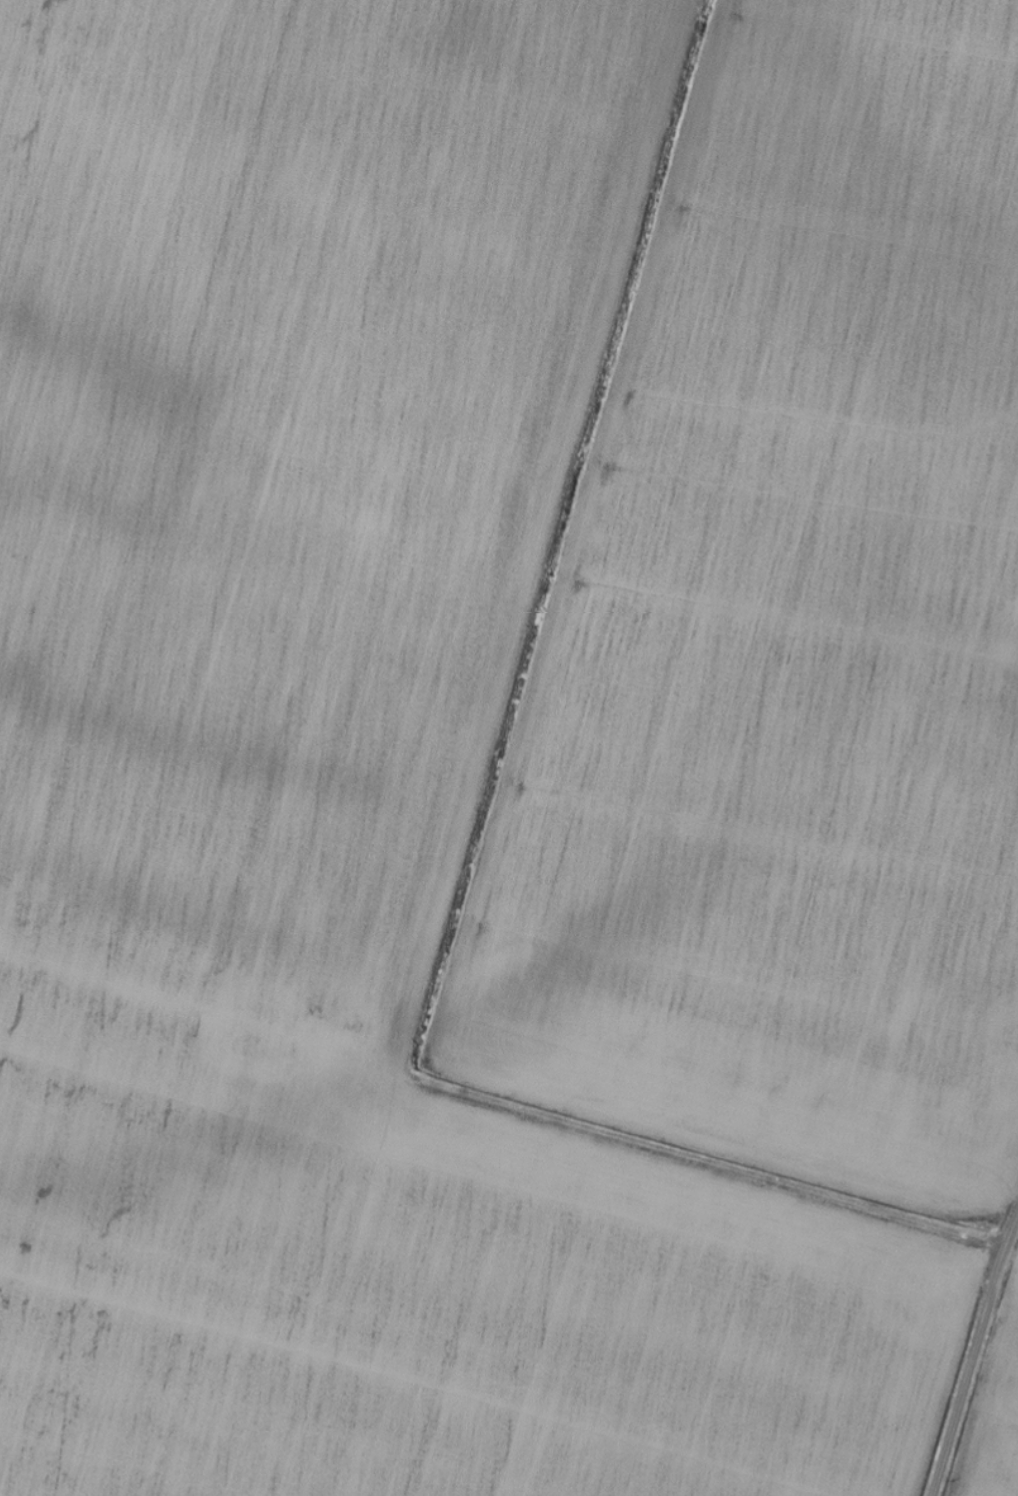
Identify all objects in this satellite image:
road: (974, 1360)

